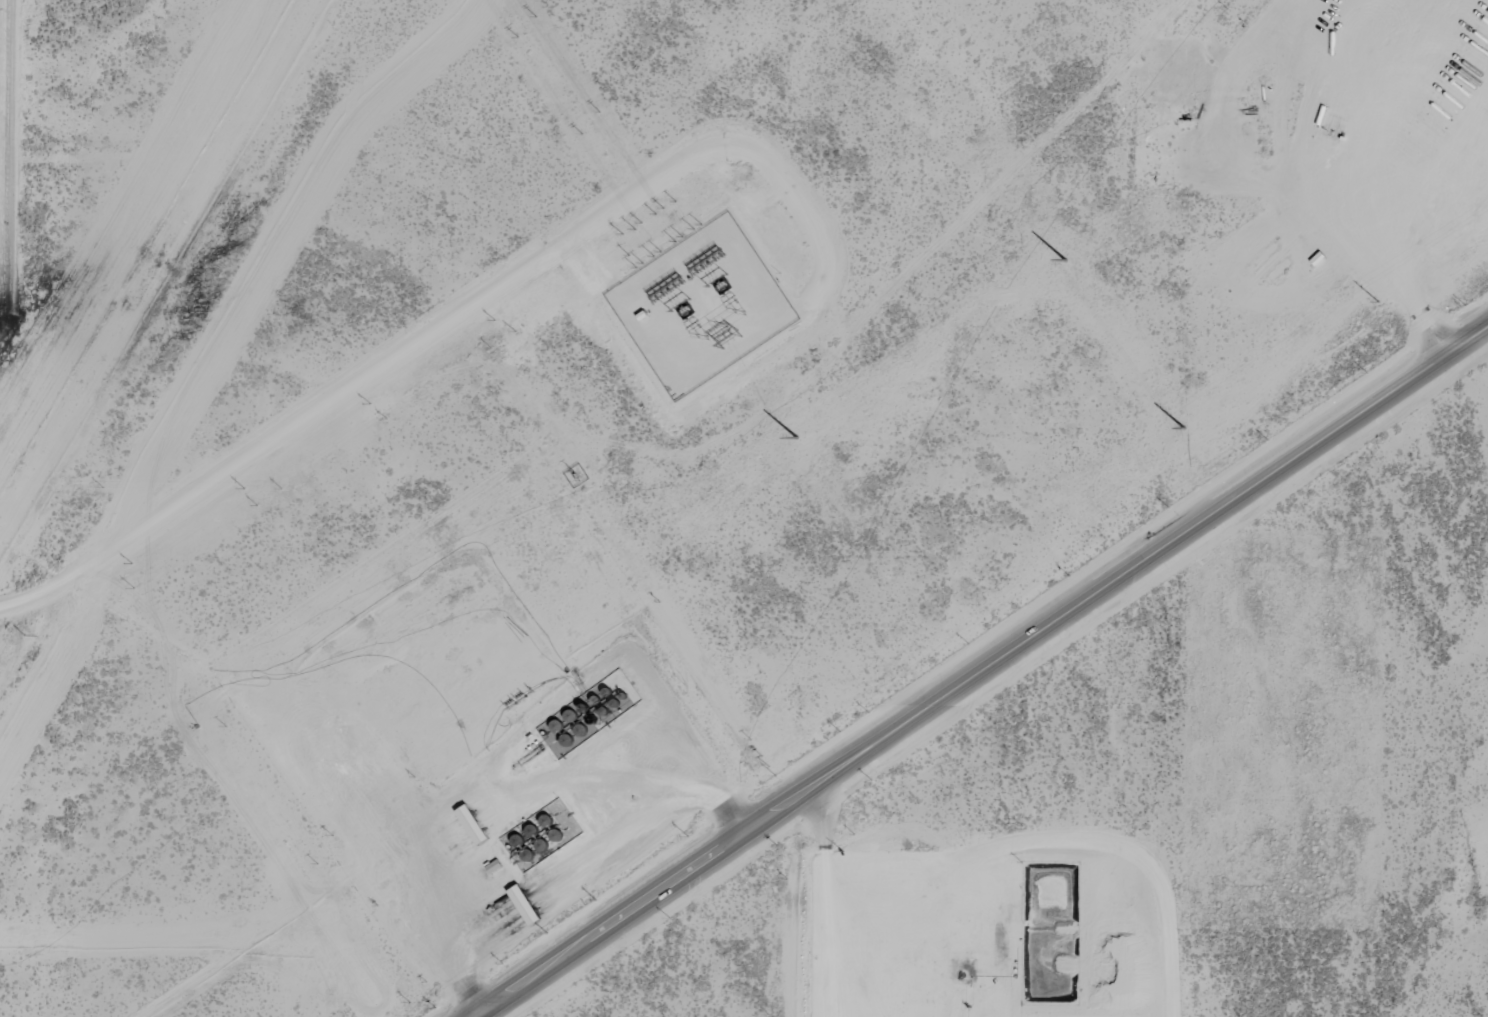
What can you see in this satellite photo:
power tower: (1066, 262)
road: (1361, 265)
power tower: (1380, 303)
power substation: (702, 307)
road: (452, 320)
power tower: (1186, 430)
power tower: (797, 440)
road: (981, 673)
road: (497, 791)
building: (494, 867)
road: (830, 903)

